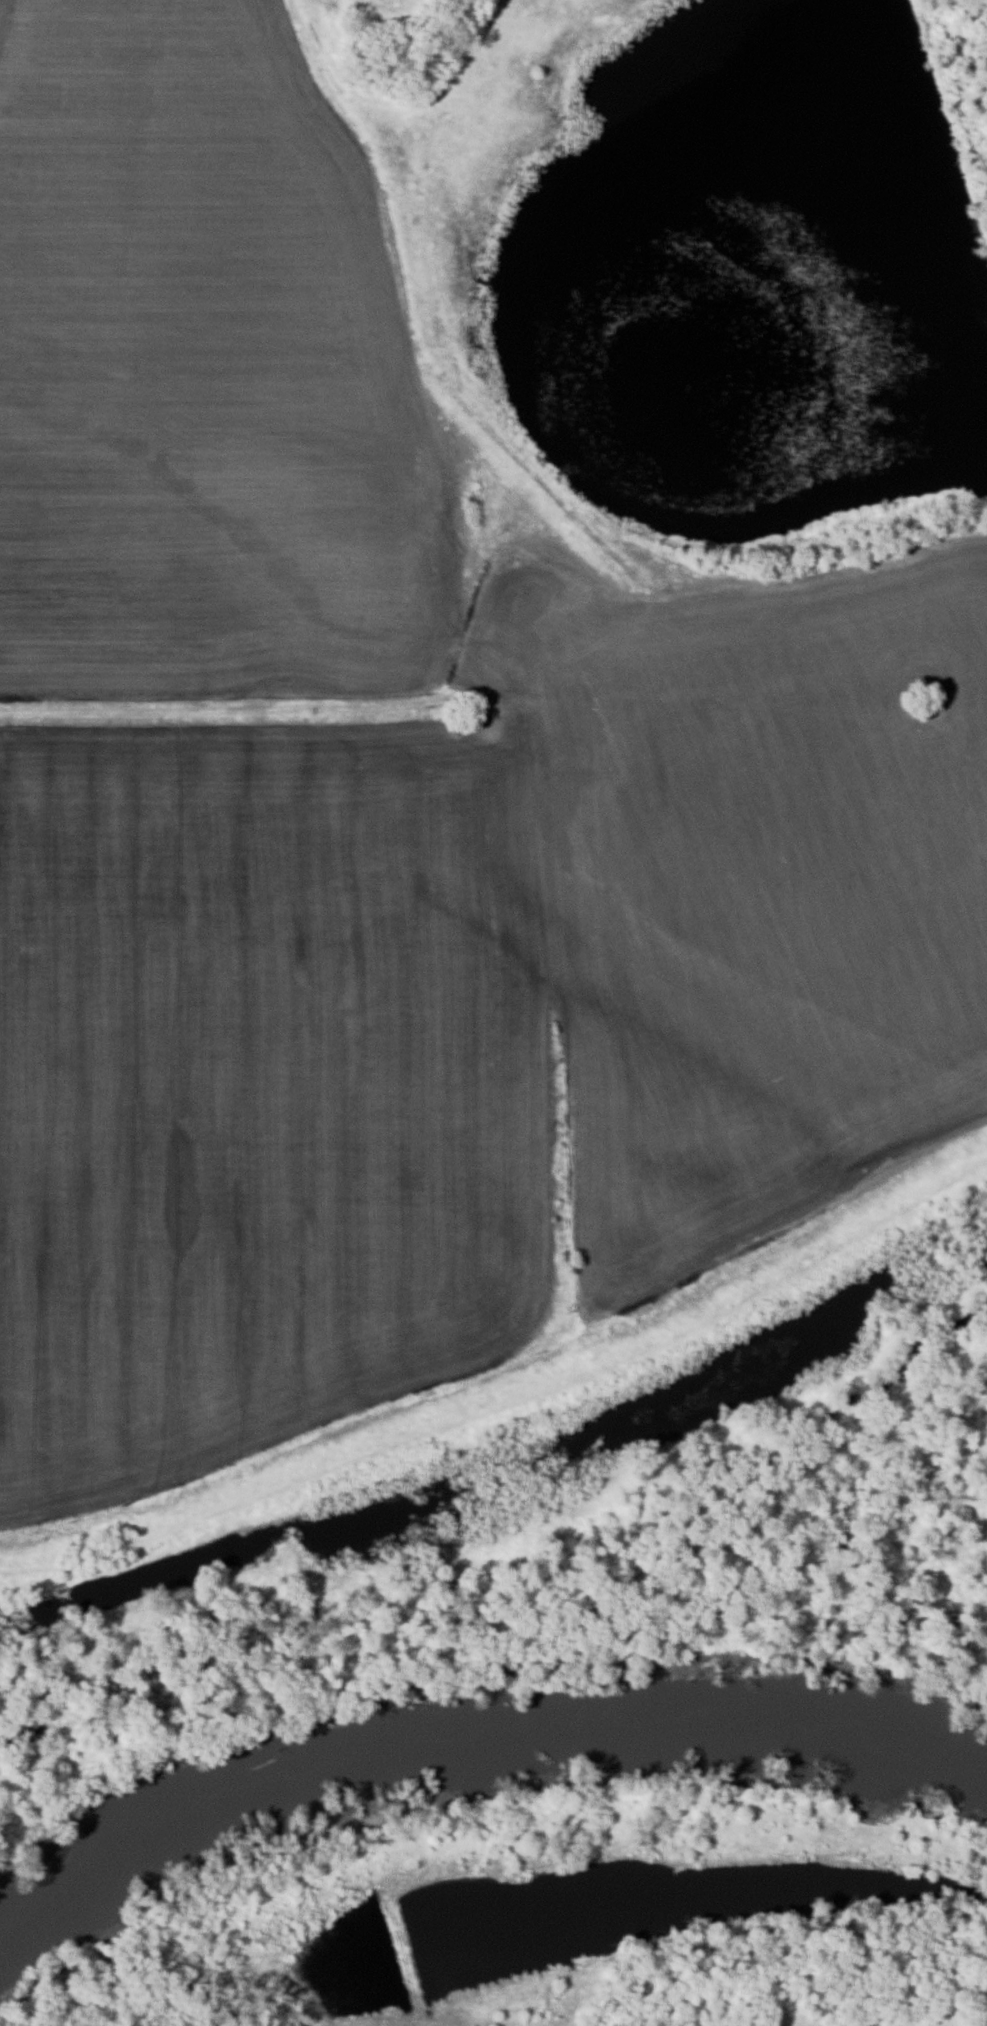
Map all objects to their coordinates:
river: (469, 1732)

